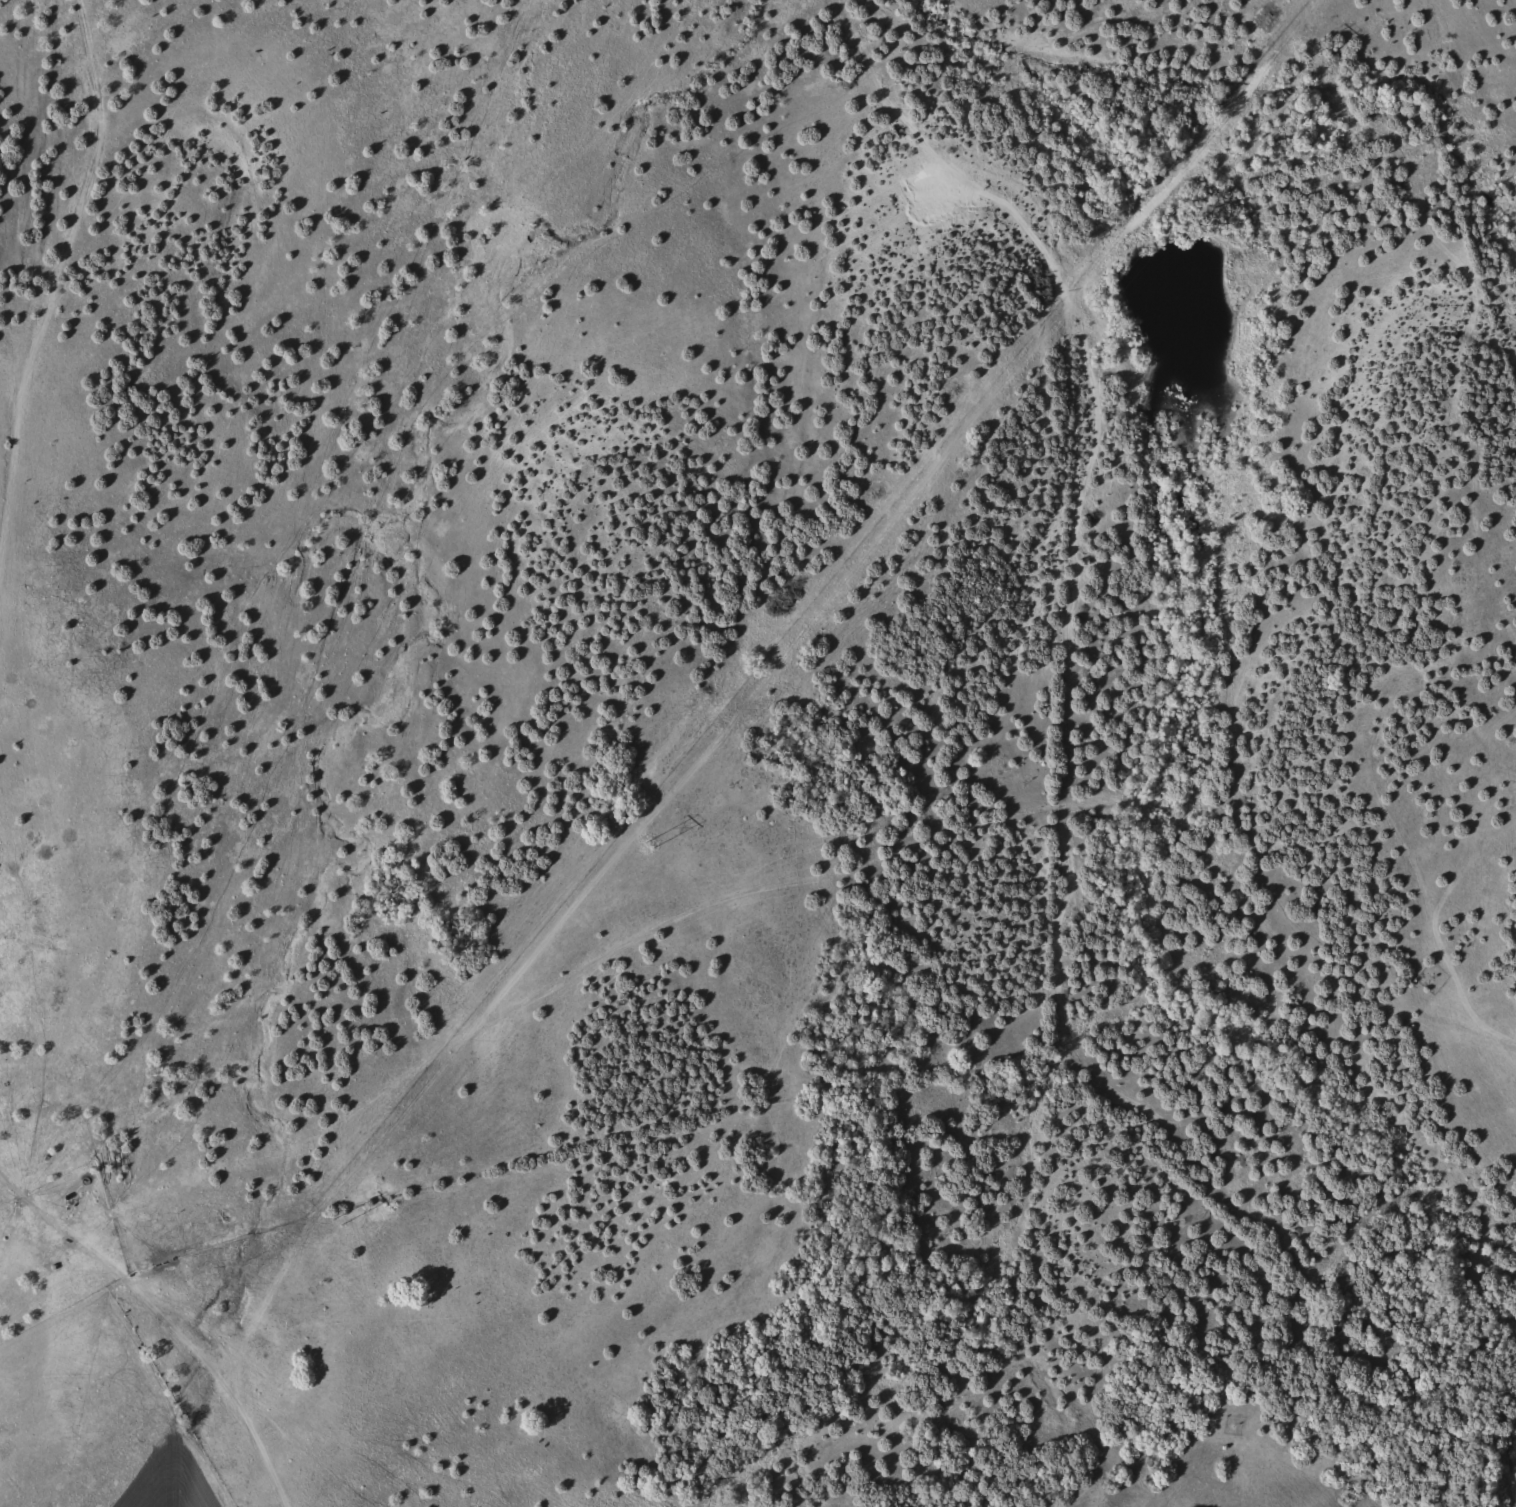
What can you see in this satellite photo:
power tower: (1301, 55)
road: (27, 288)
power tower: (963, 463)
power tower: (649, 843)
road: (780, 899)
power tower: (338, 1220)

